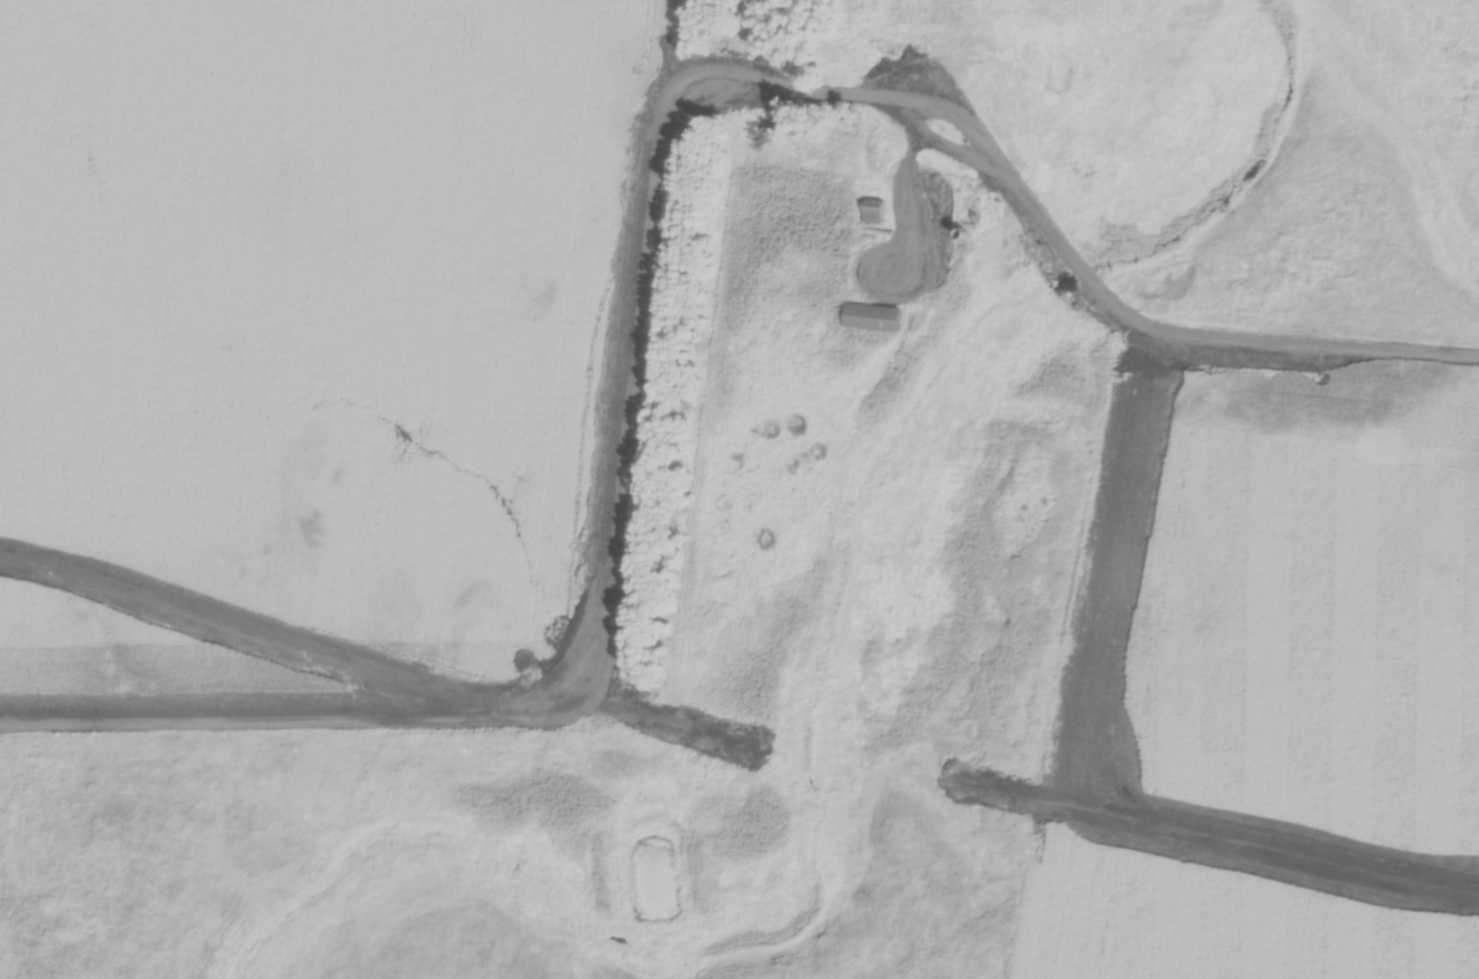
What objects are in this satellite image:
building: (965, 210)
building: (873, 216)
building: (872, 319)

